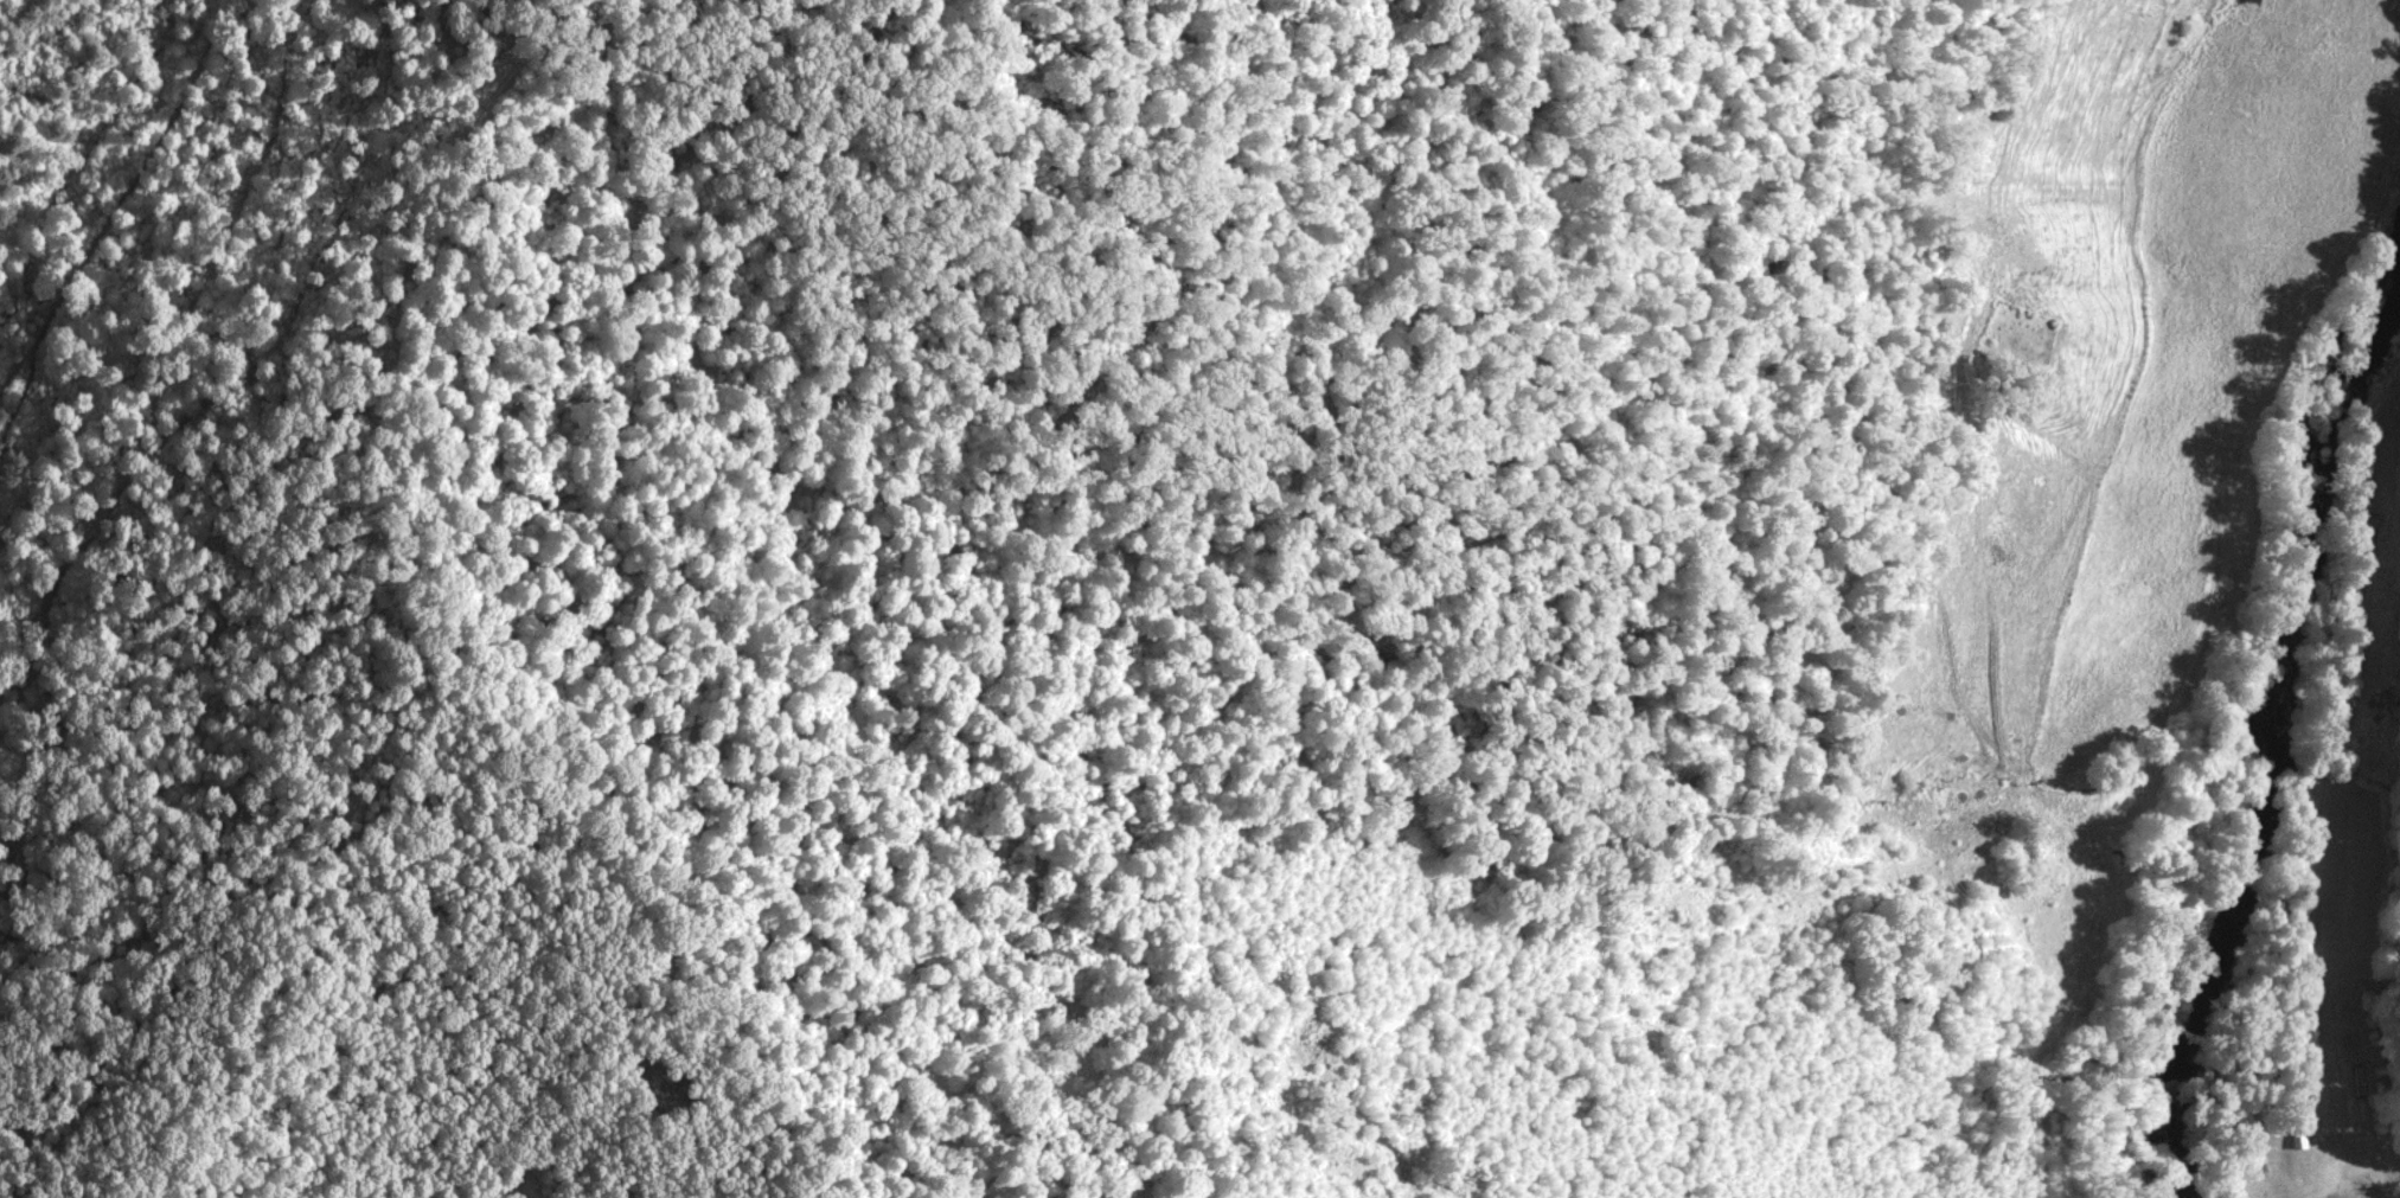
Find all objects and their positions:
building: (2257, 1)
road: (2375, 1177)

